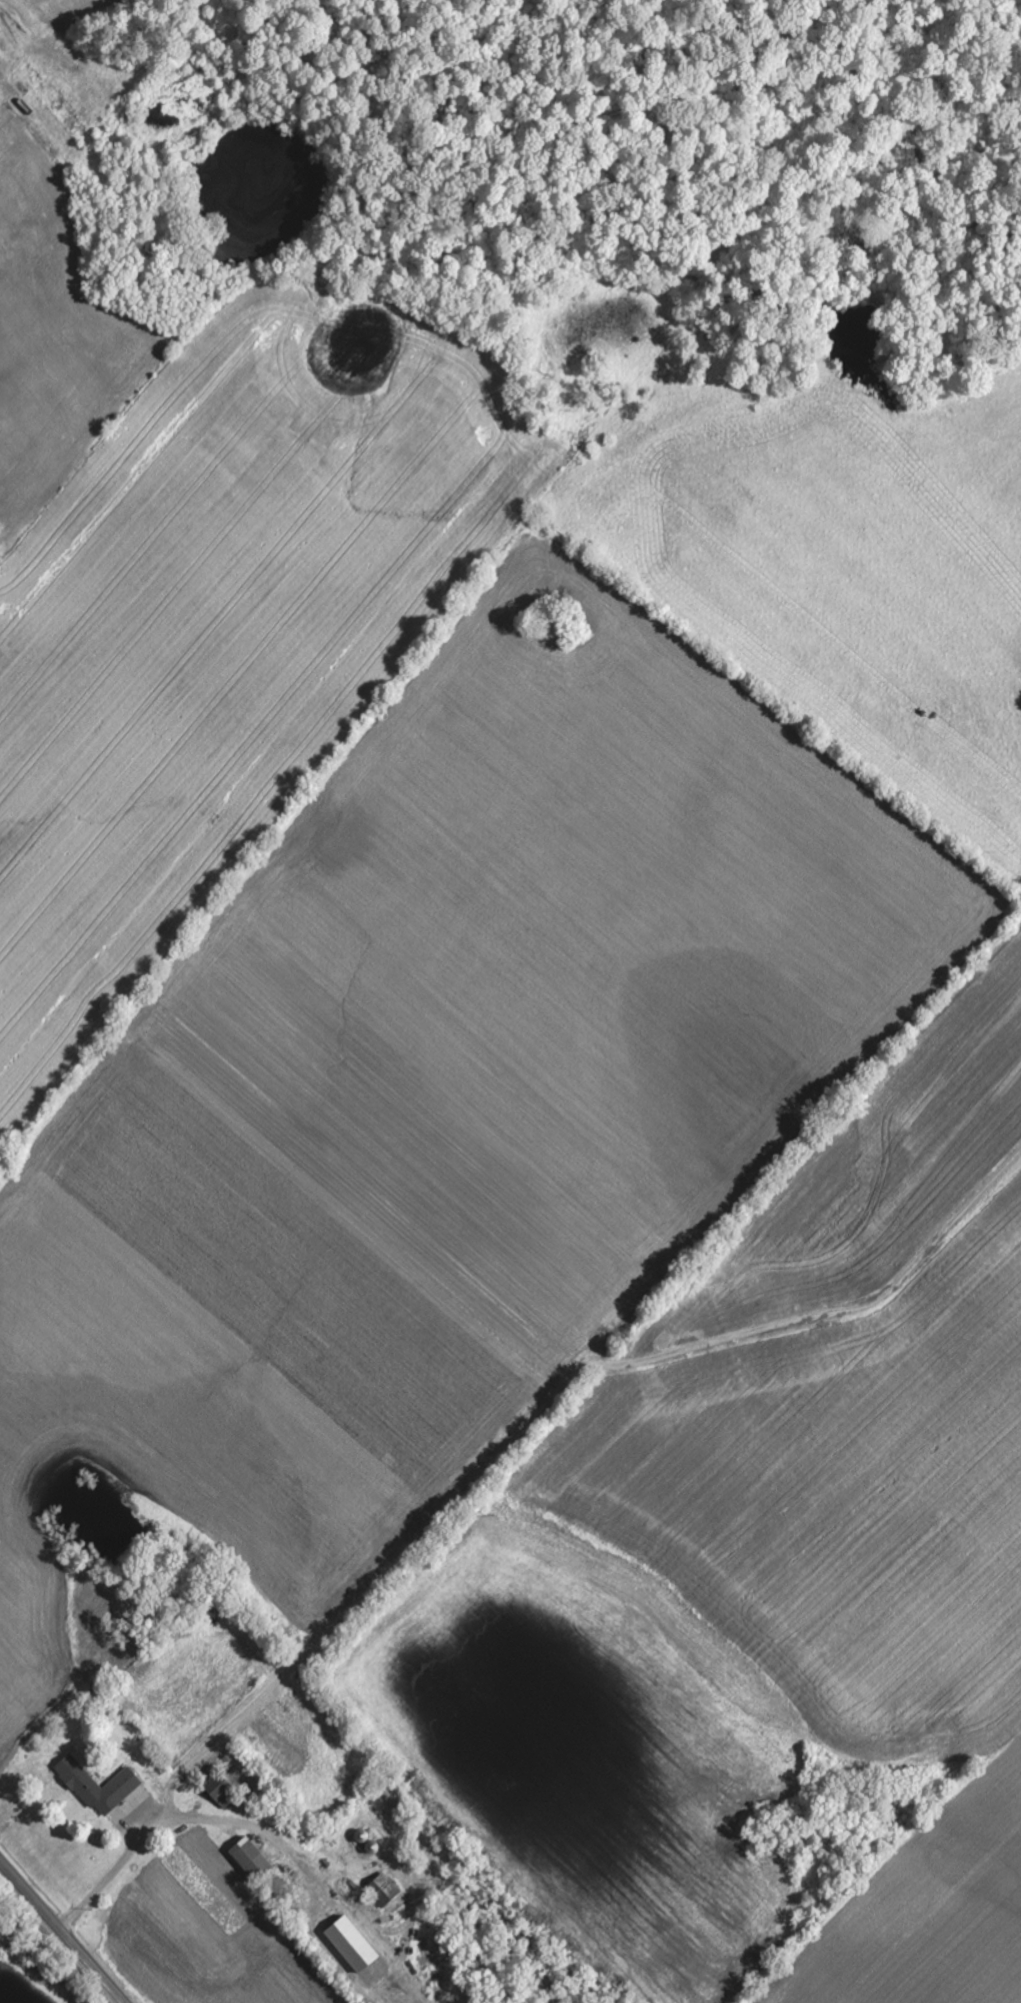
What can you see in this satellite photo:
building: (107, 1791)
building: (229, 1796)
building: (255, 1859)
building: (386, 1891)
road: (64, 1929)
building: (356, 1945)

